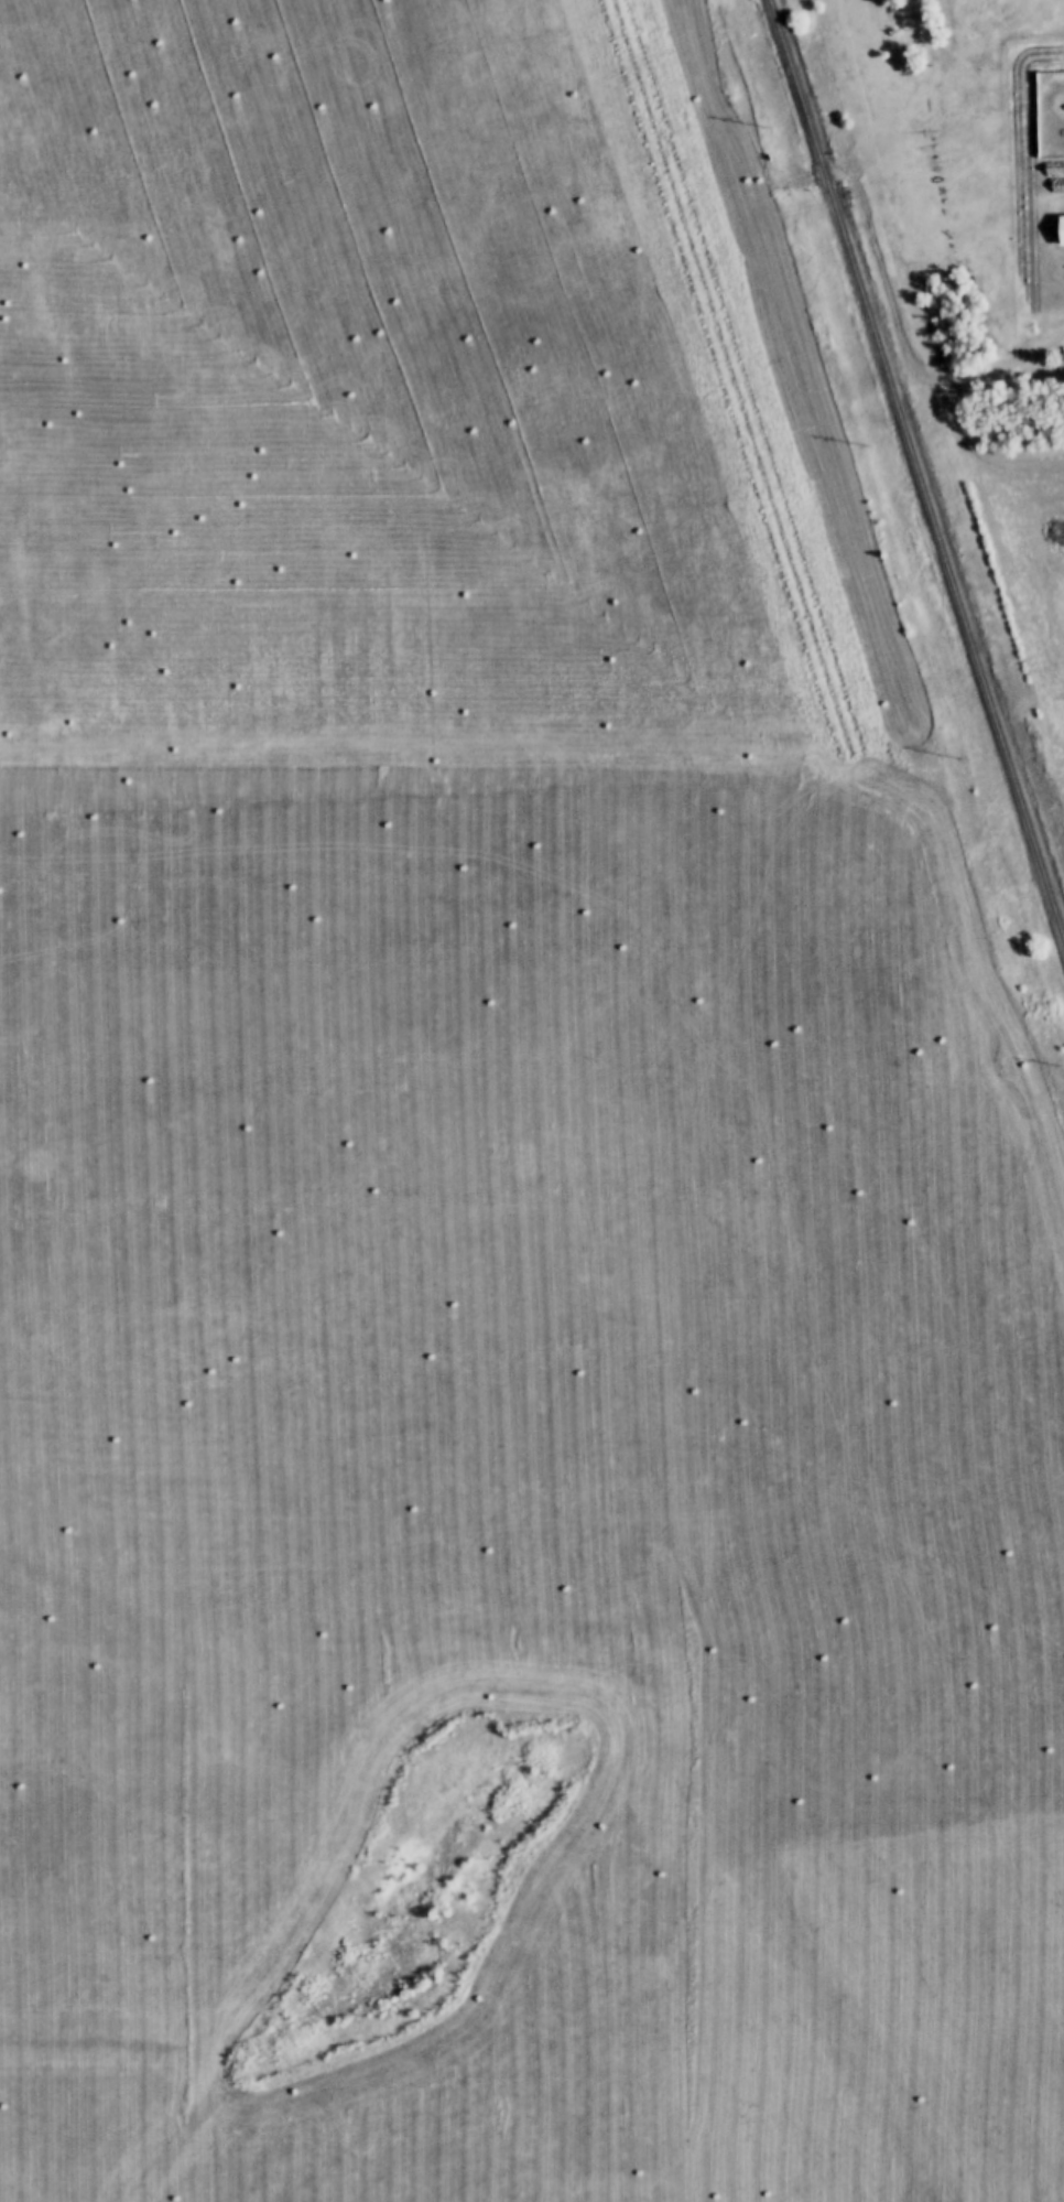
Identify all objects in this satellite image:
railway: (925, 450)
quarry: (486, 1184)

